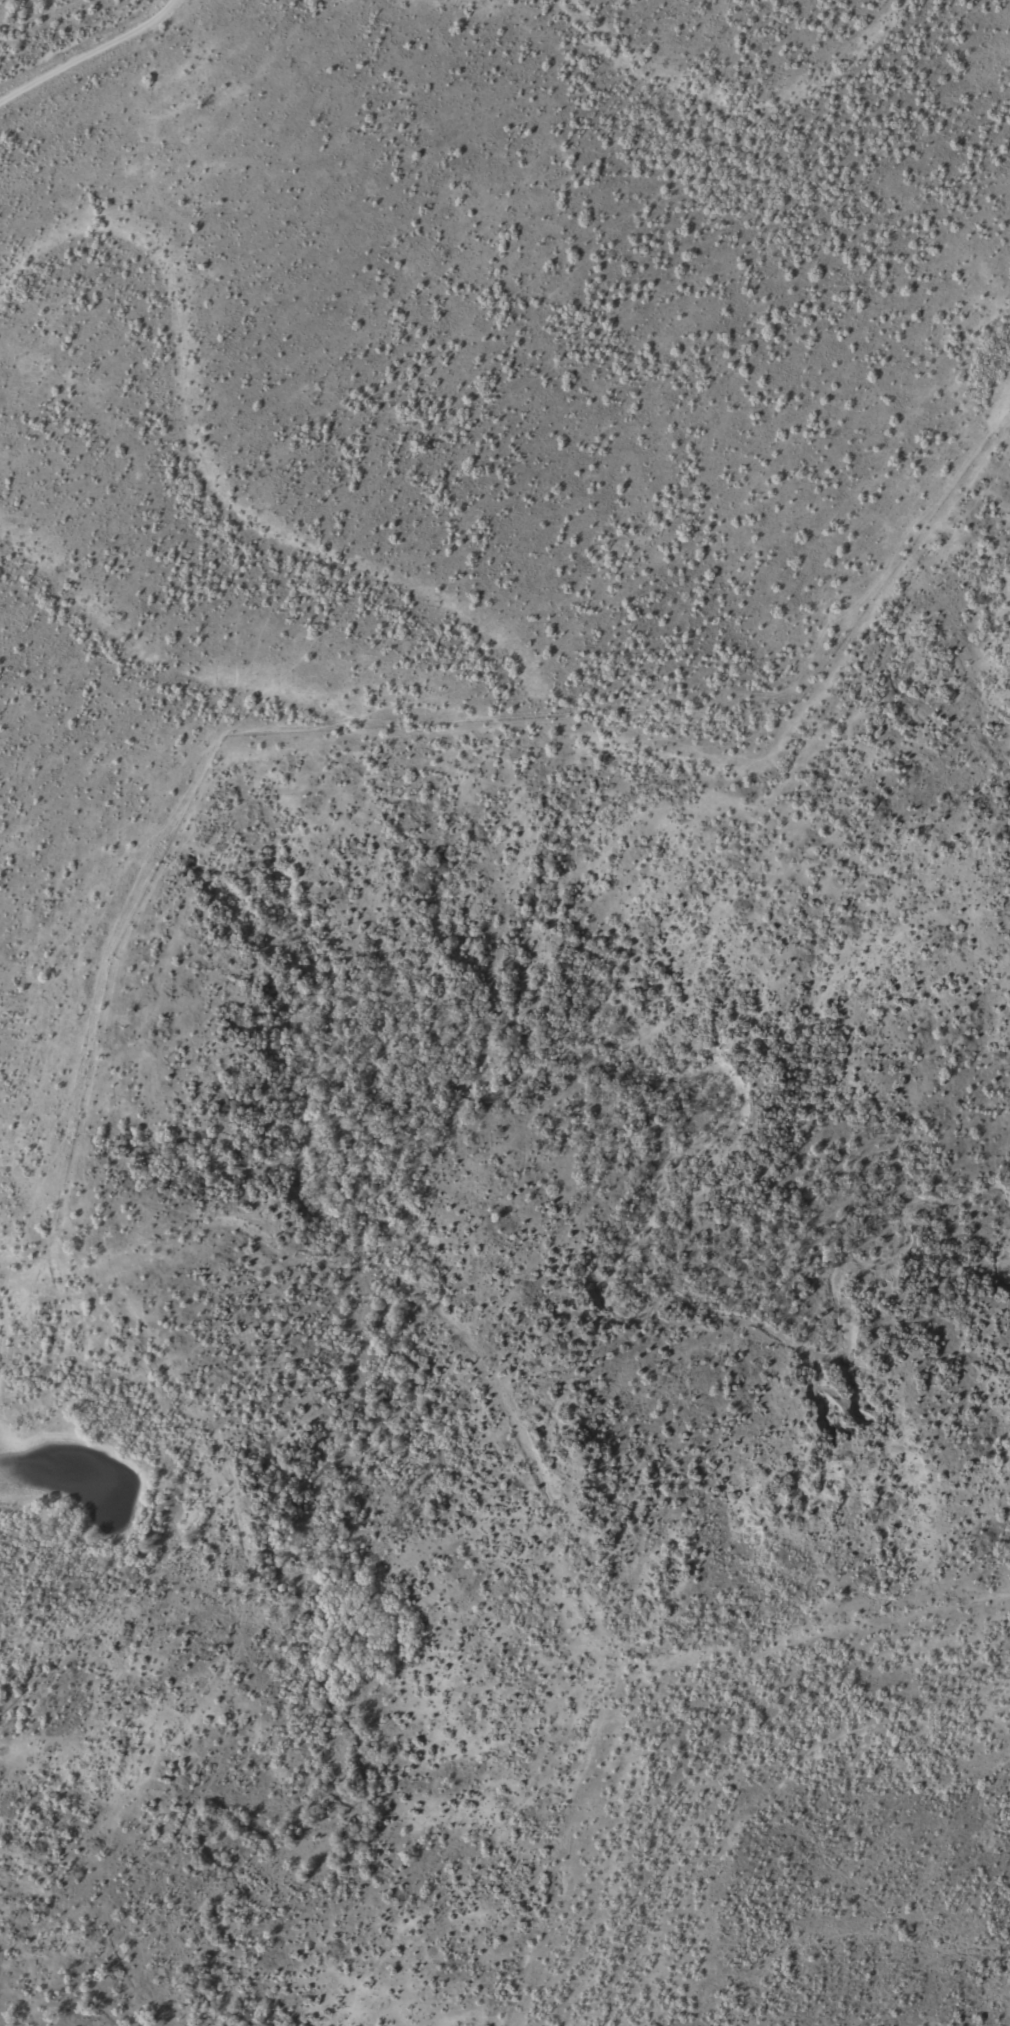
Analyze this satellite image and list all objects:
road: (82, 69)
road: (391, 1317)
road: (563, 1710)
road: (71, 2021)

